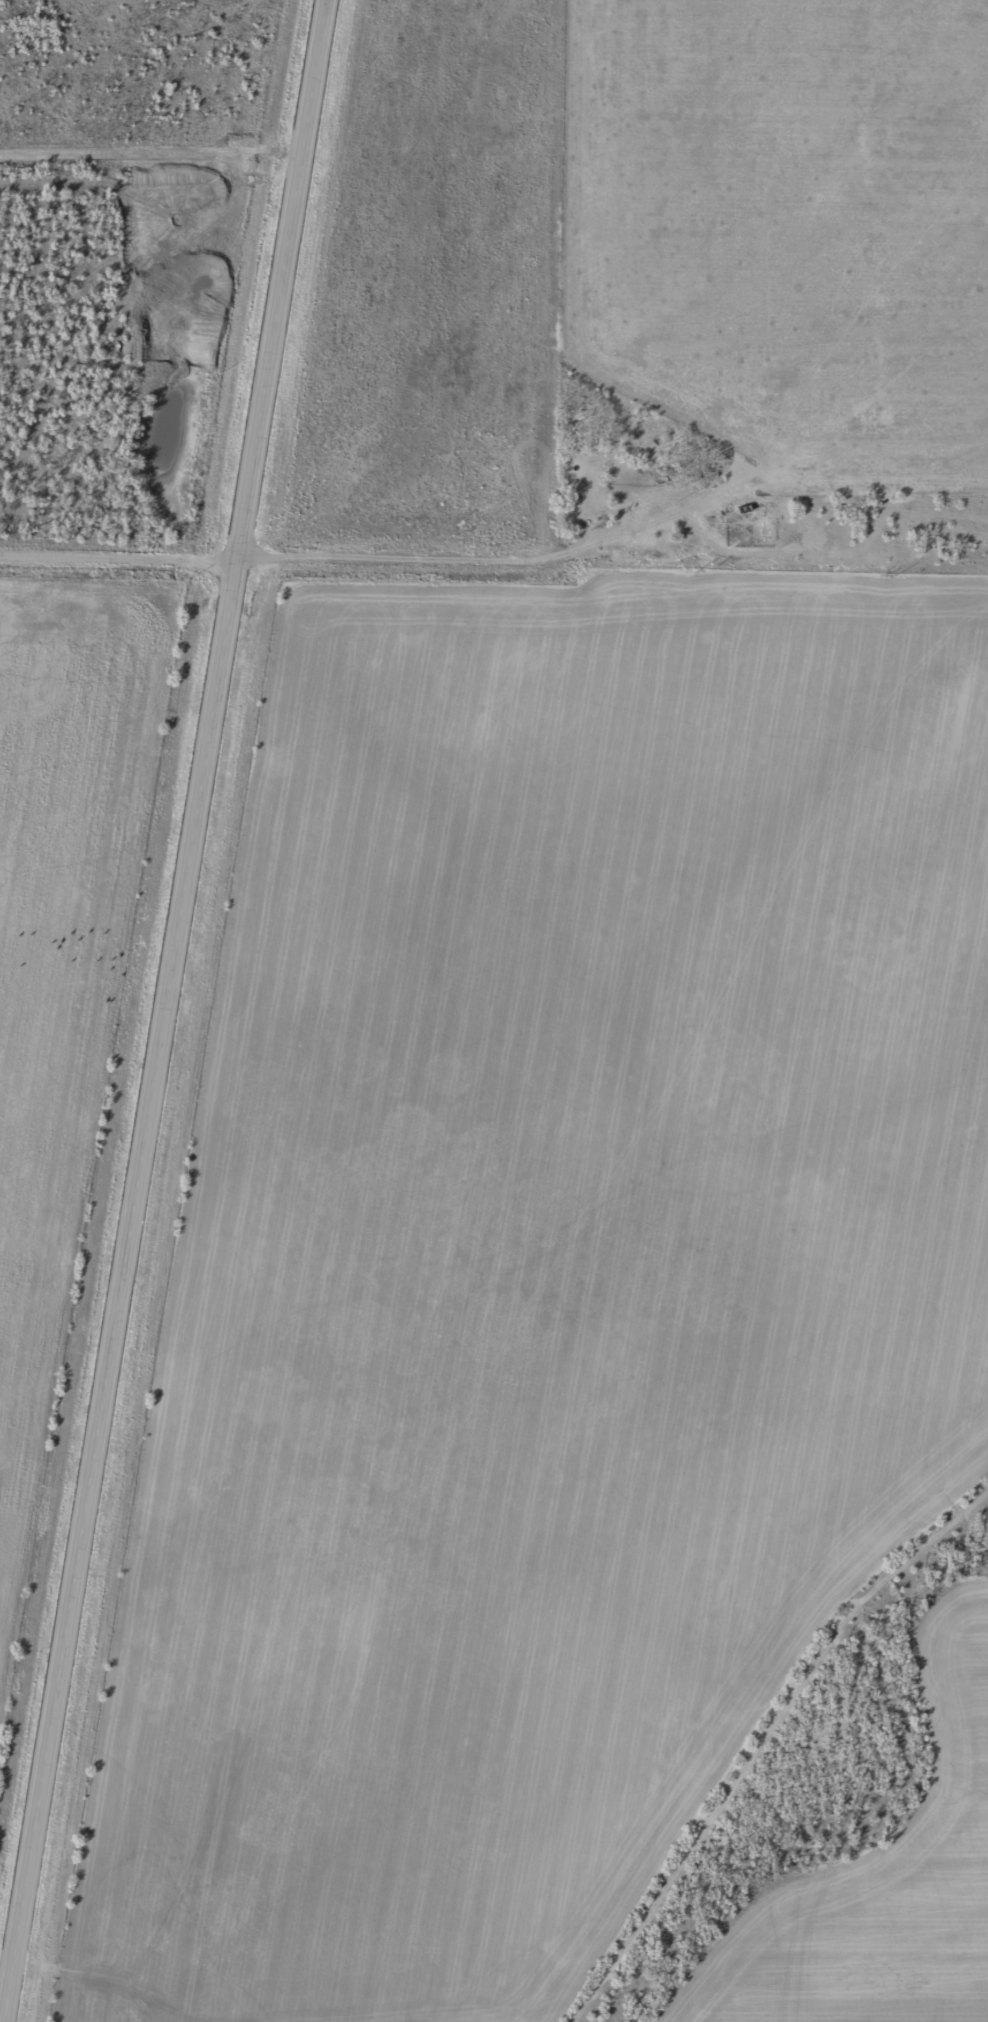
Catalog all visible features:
road: (120, 562)
road: (615, 587)
road: (169, 1011)

